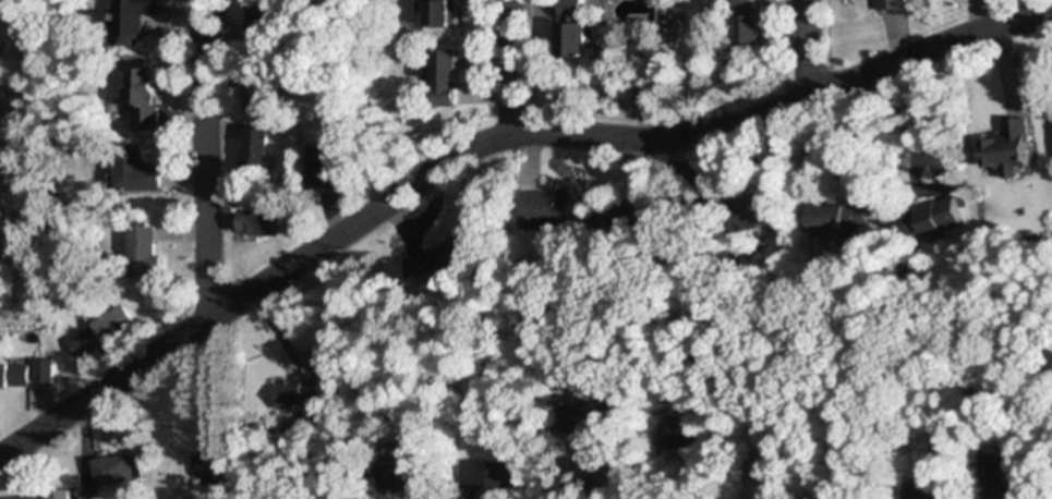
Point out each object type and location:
building: (890, 4)
building: (569, 10)
building: (438, 13)
building: (133, 17)
building: (261, 17)
building: (745, 26)
building: (569, 40)
road: (808, 49)
road: (509, 66)
building: (442, 77)
building: (642, 87)
building: (257, 92)
building: (142, 99)
road: (491, 141)
building: (1006, 148)
building: (254, 151)
road: (205, 160)
building: (323, 168)
building: (134, 169)
building: (553, 206)
building: (632, 214)
building: (835, 217)
building: (930, 217)
building: (256, 222)
building: (141, 252)
building: (98, 332)
building: (40, 370)
building: (13, 375)
building: (298, 393)
building: (578, 419)
building: (675, 430)
building: (760, 461)
building: (205, 468)
building: (110, 471)
building: (1000, 474)
building: (489, 475)
building: (394, 476)
building: (926, 489)

